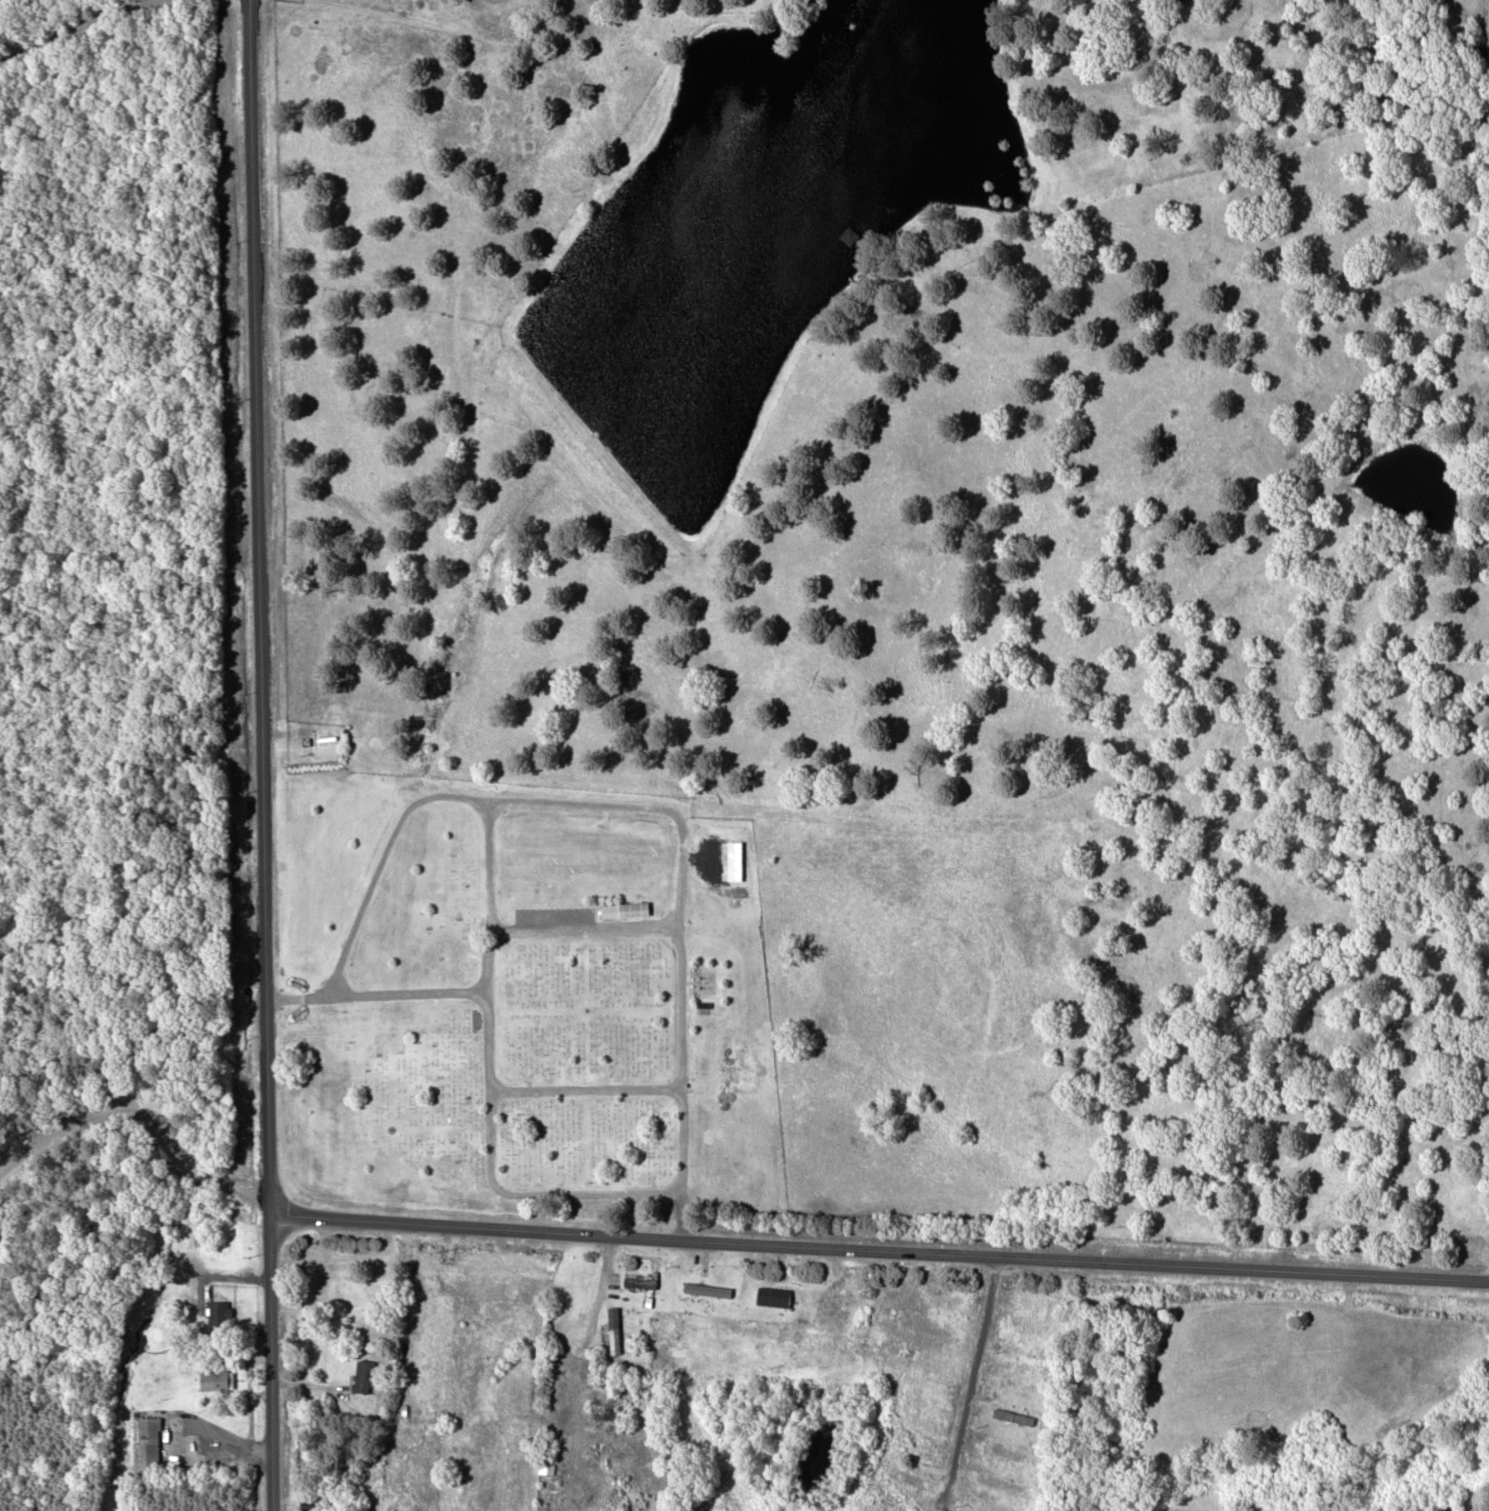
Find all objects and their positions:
building: (315, 20)
road: (69, 27)
road: (452, 33)
building: (849, 233)
road: (261, 755)
road: (647, 806)
road: (387, 857)
road: (496, 893)
building: (629, 905)
road: (686, 965)
road: (380, 991)
building: (702, 1006)
park: (547, 1011)
road: (591, 1084)
road: (512, 1187)
road: (877, 1248)
building: (638, 1280)
building: (706, 1289)
building: (772, 1296)
building: (218, 1312)
building: (1026, 1321)
building: (613, 1329)
building: (941, 1368)
building: (363, 1375)
building: (215, 1378)
road: (969, 1383)
building: (607, 1412)
building: (1013, 1415)
building: (145, 1443)
building: (1008, 1452)
building: (911, 1478)
building: (1000, 1482)
building: (987, 1505)

